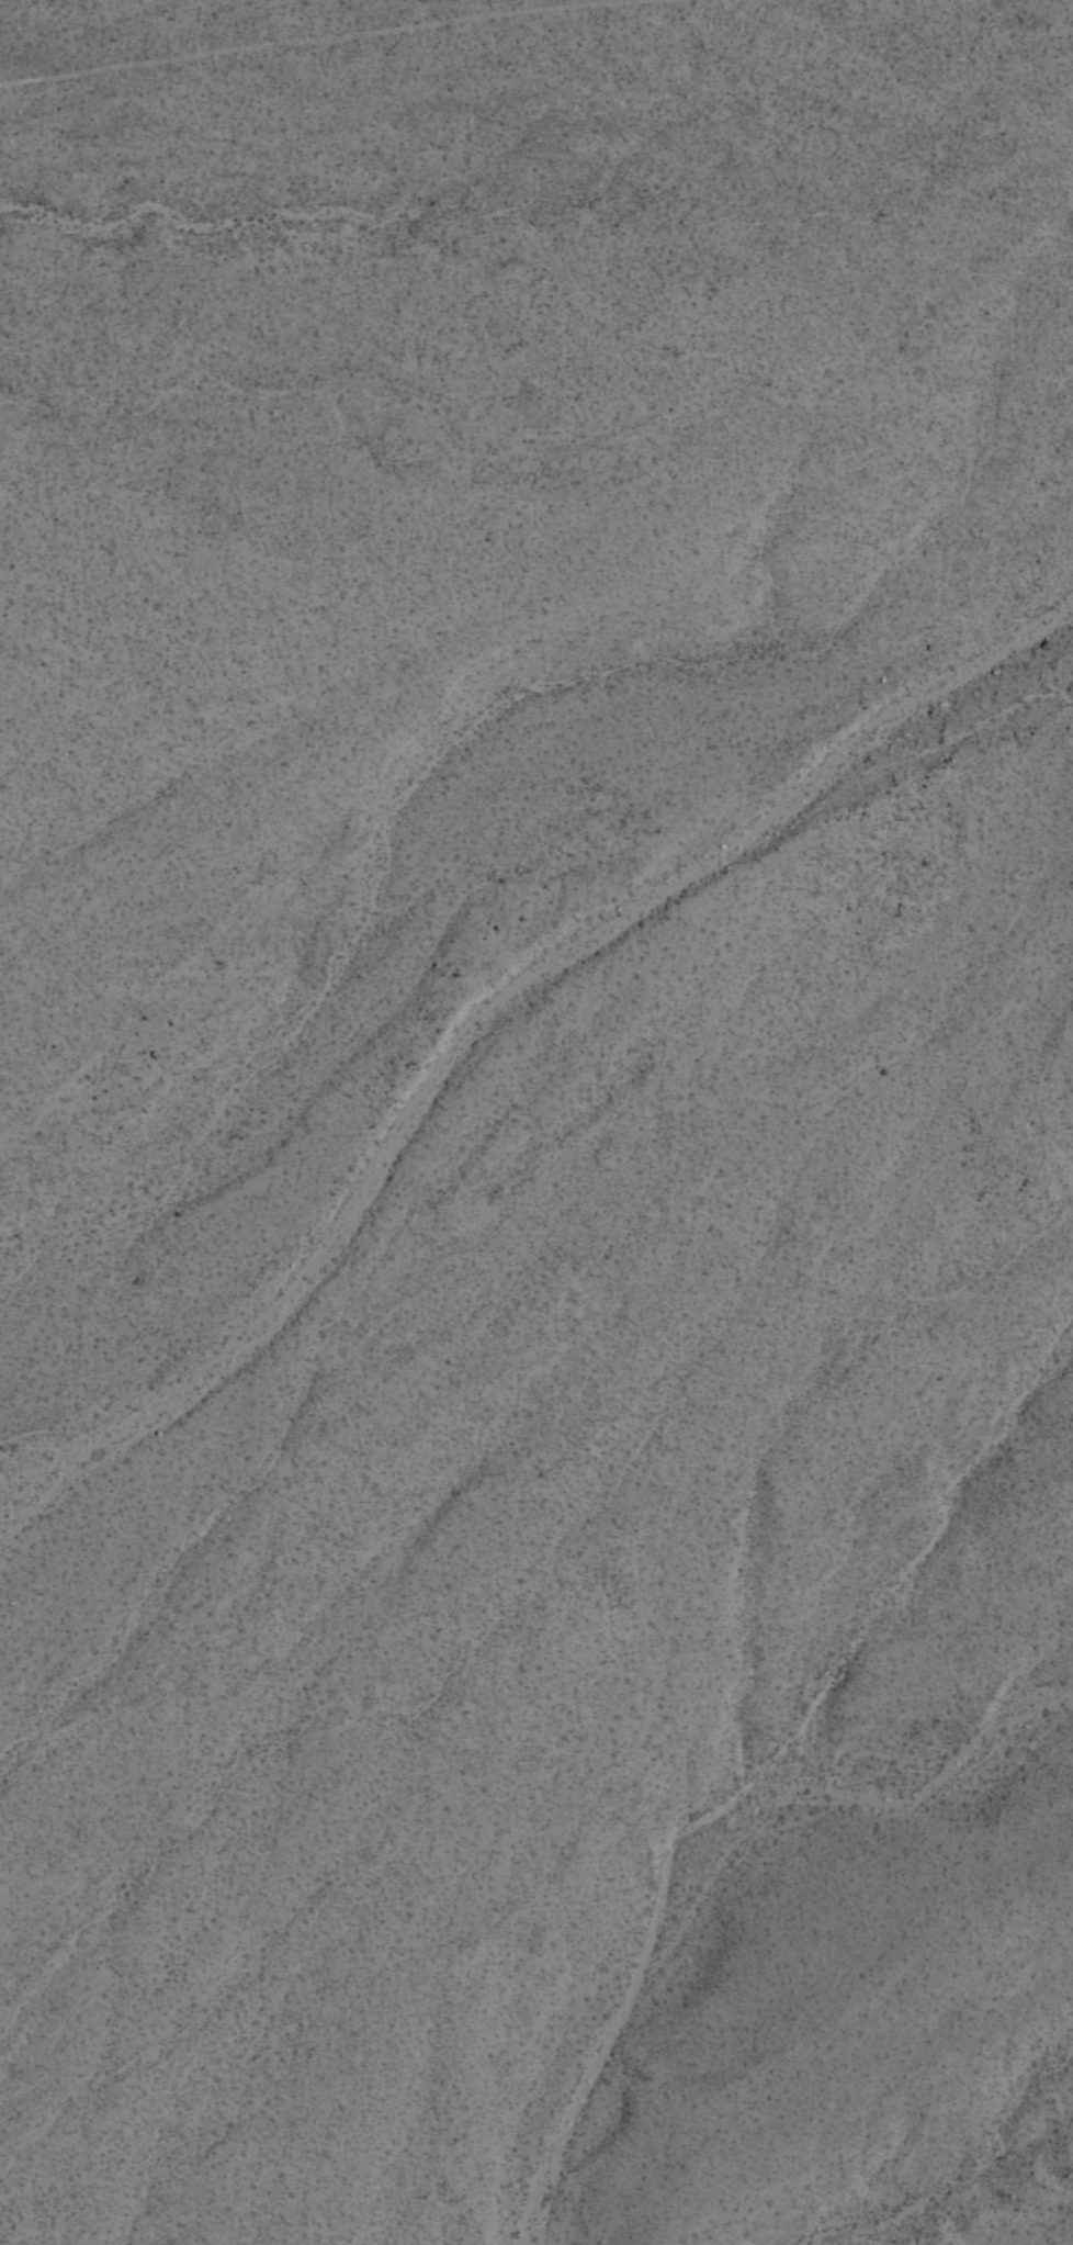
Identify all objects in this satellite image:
road: (309, 36)

